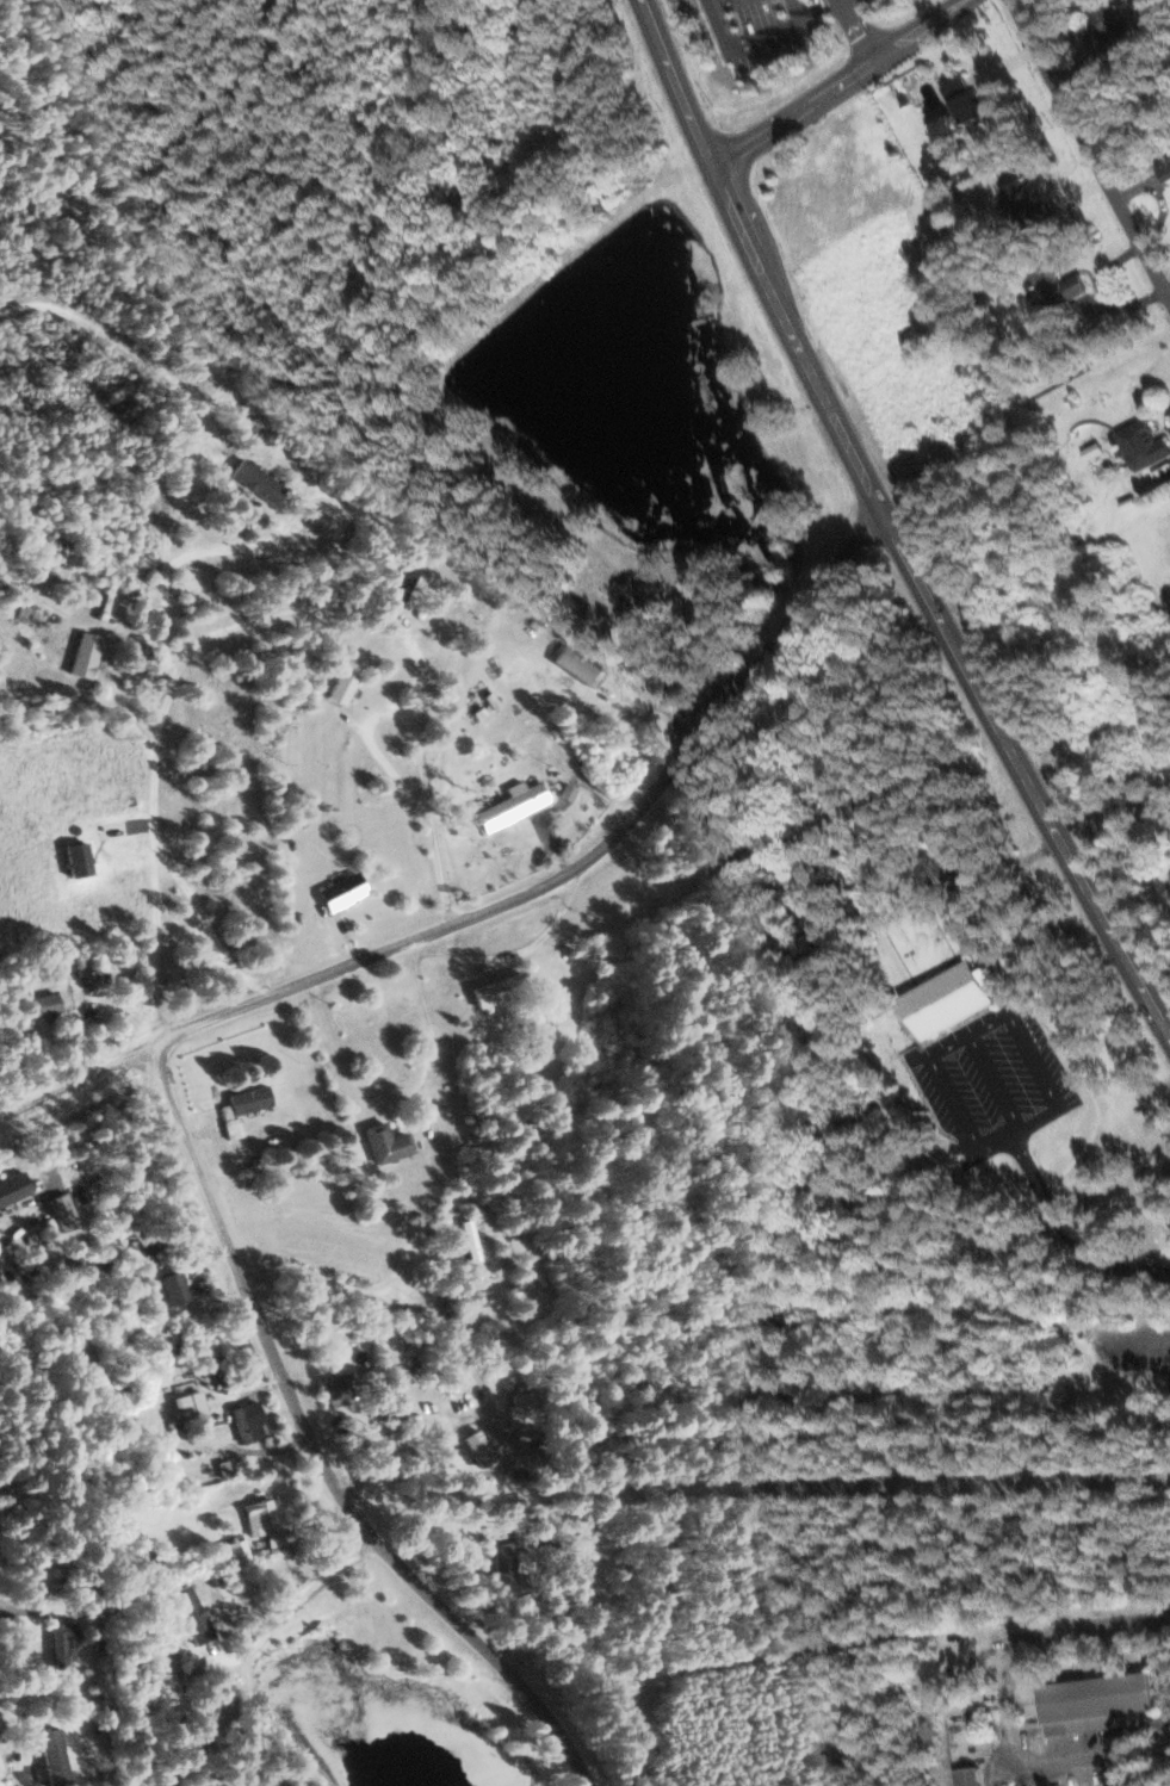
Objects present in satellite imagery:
building: (1113, 30)
road: (268, 32)
road: (844, 87)
building: (966, 99)
road: (1087, 153)
building: (1166, 169)
building: (1027, 204)
dam: (595, 275)
building: (1058, 287)
road: (1169, 303)
dam: (527, 334)
building: (1143, 444)
building: (1094, 451)
building: (258, 479)
road: (886, 532)
dam: (787, 570)
building: (398, 587)
building: (86, 653)
building: (580, 664)
building: (343, 687)
road: (156, 688)
building: (568, 792)
building: (513, 804)
road: (581, 868)
building: (342, 891)
building: (496, 991)
building: (952, 998)
building: (45, 1004)
road: (78, 1073)
building: (249, 1099)
building: (231, 1123)
building: (386, 1142)
building: (13, 1187)
building: (63, 1211)
building: (93, 1265)
building: (175, 1288)
road: (1134, 1338)
building: (340, 1388)
building: (190, 1403)
building: (248, 1419)
building: (482, 1446)
road: (309, 1451)
building: (261, 1513)
building: (274, 1542)
building: (234, 1550)
building: (510, 1559)
road: (30, 1611)
building: (192, 1613)
road: (1163, 1613)
building: (61, 1639)
road: (1163, 1654)
building: (1097, 1700)
road: (1004, 1711)
building: (54, 1756)
building: (970, 1775)

